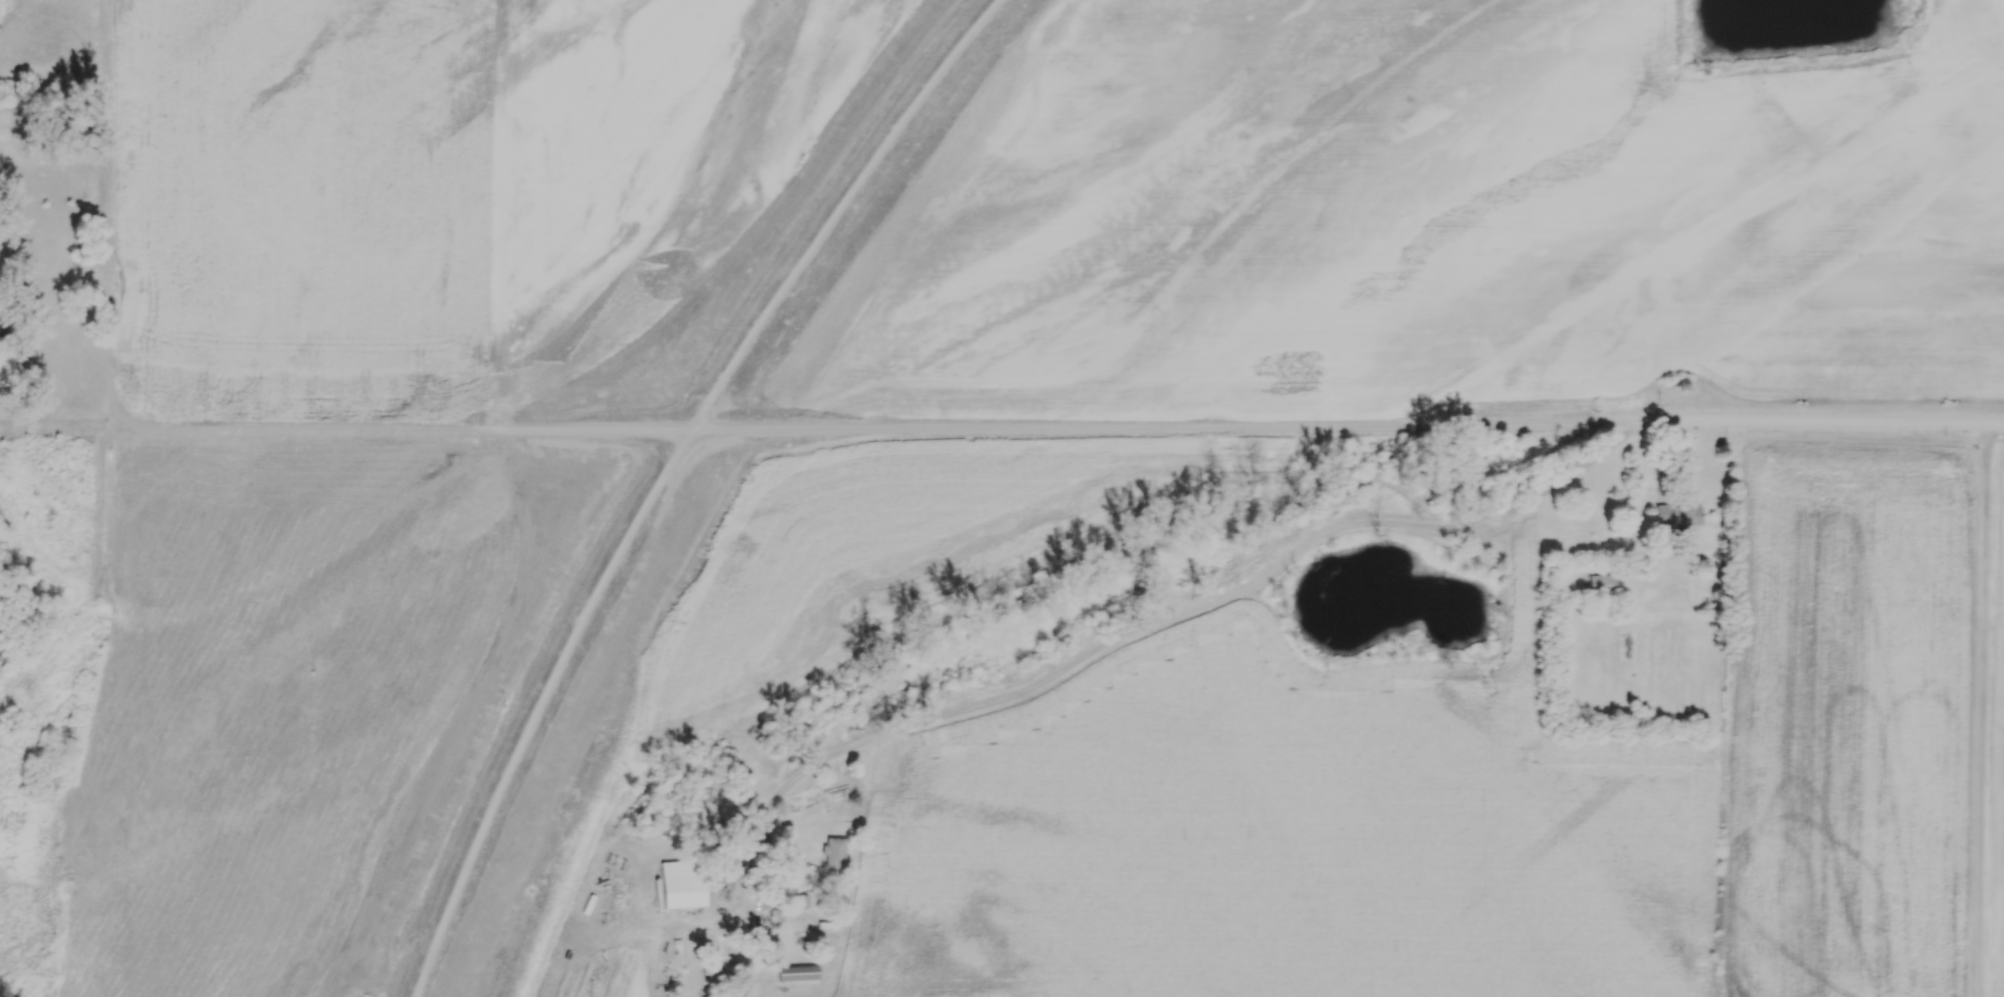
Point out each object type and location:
road: (823, 208)
road: (102, 344)
building: (6, 364)
road: (1071, 427)
road: (1150, 624)
road: (535, 708)
road: (1981, 709)

